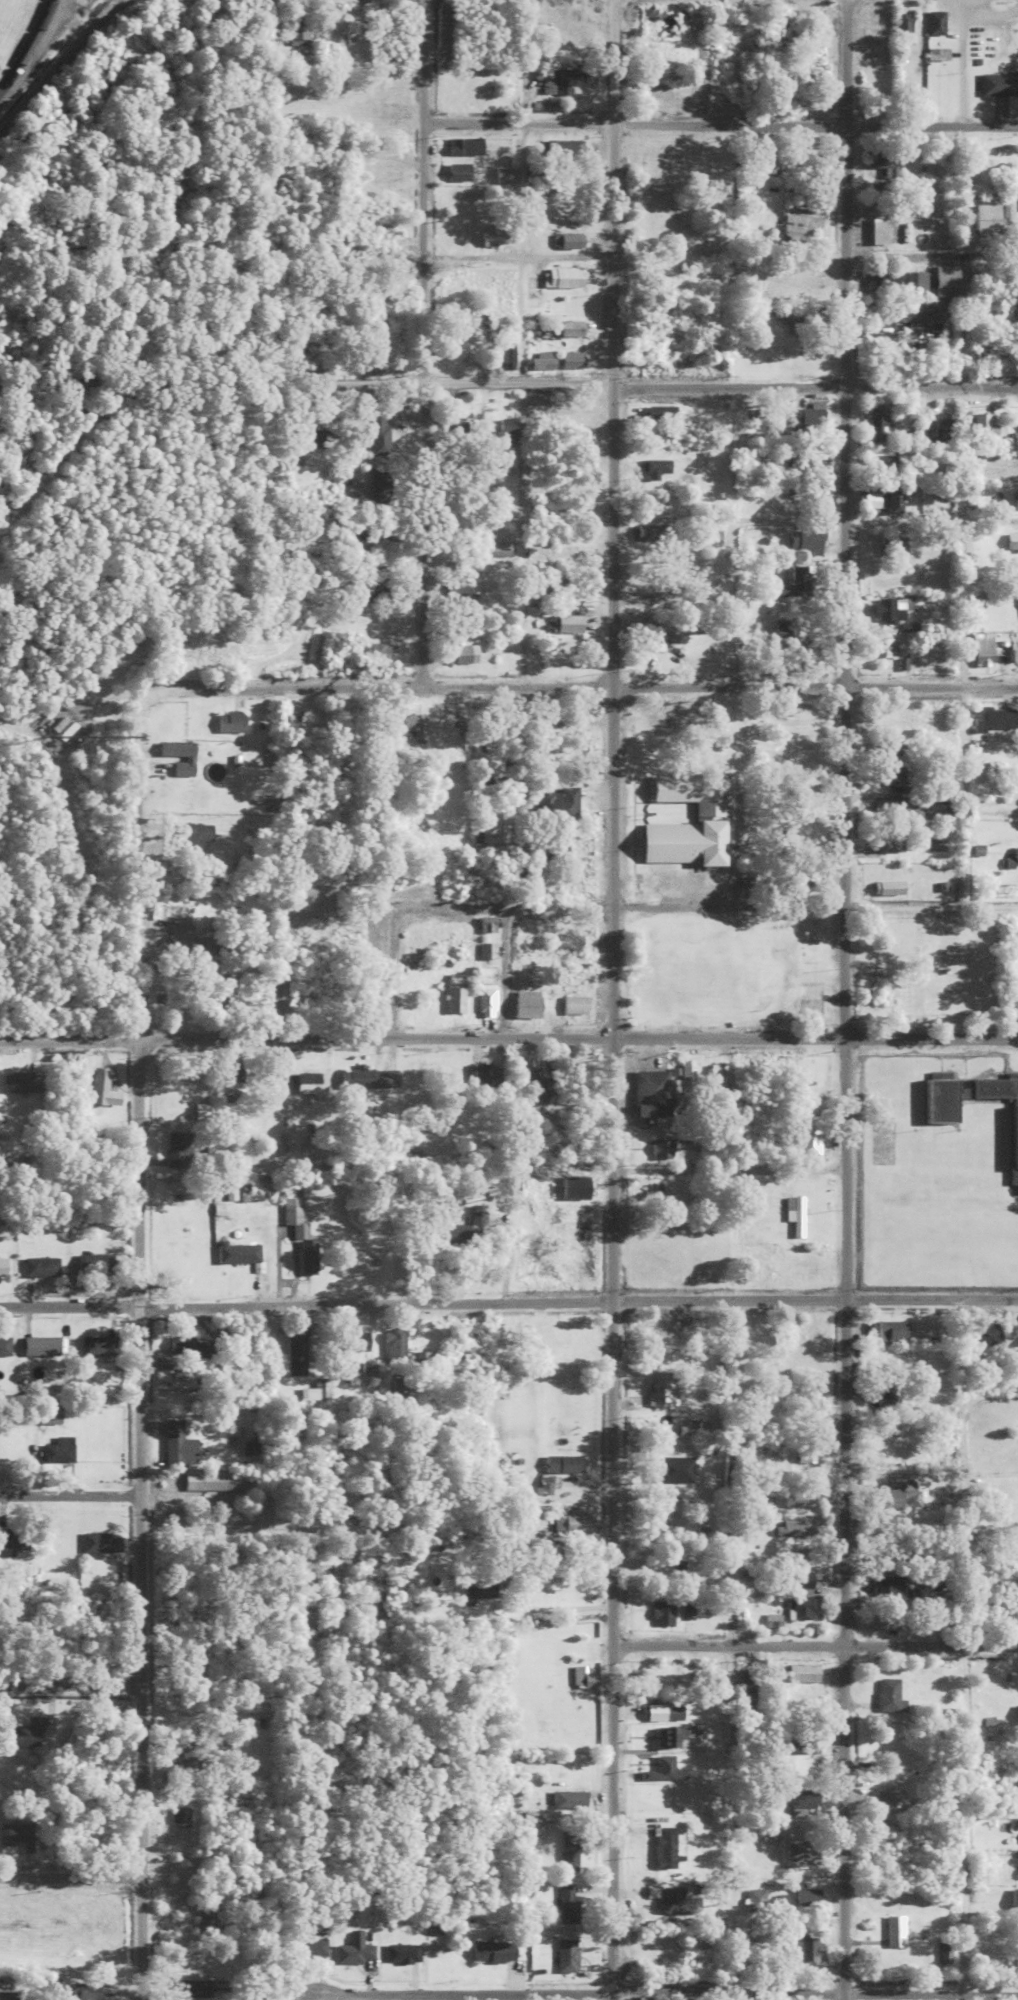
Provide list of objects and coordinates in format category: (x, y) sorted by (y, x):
railway: (28, 46)
road: (36, 51)
road: (307, 84)
road: (719, 119)
road: (931, 252)
road: (515, 253)
road: (421, 342)
road: (509, 378)
road: (516, 401)
road: (727, 401)
road: (516, 513)
road: (868, 513)
road: (574, 682)
road: (520, 738)
road: (519, 904)
road: (776, 904)
road: (332, 905)
road: (502, 970)
road: (844, 999)
road: (610, 1000)
road: (814, 1034)
road: (305, 1036)
road: (727, 1165)
road: (508, 1297)
road: (137, 1352)
road: (69, 1494)
road: (329, 1499)
road: (236, 1523)
road: (346, 1573)
road: (814, 1642)
road: (71, 1685)
road: (71, 1876)
road: (814, 1987)
road: (465, 1991)

